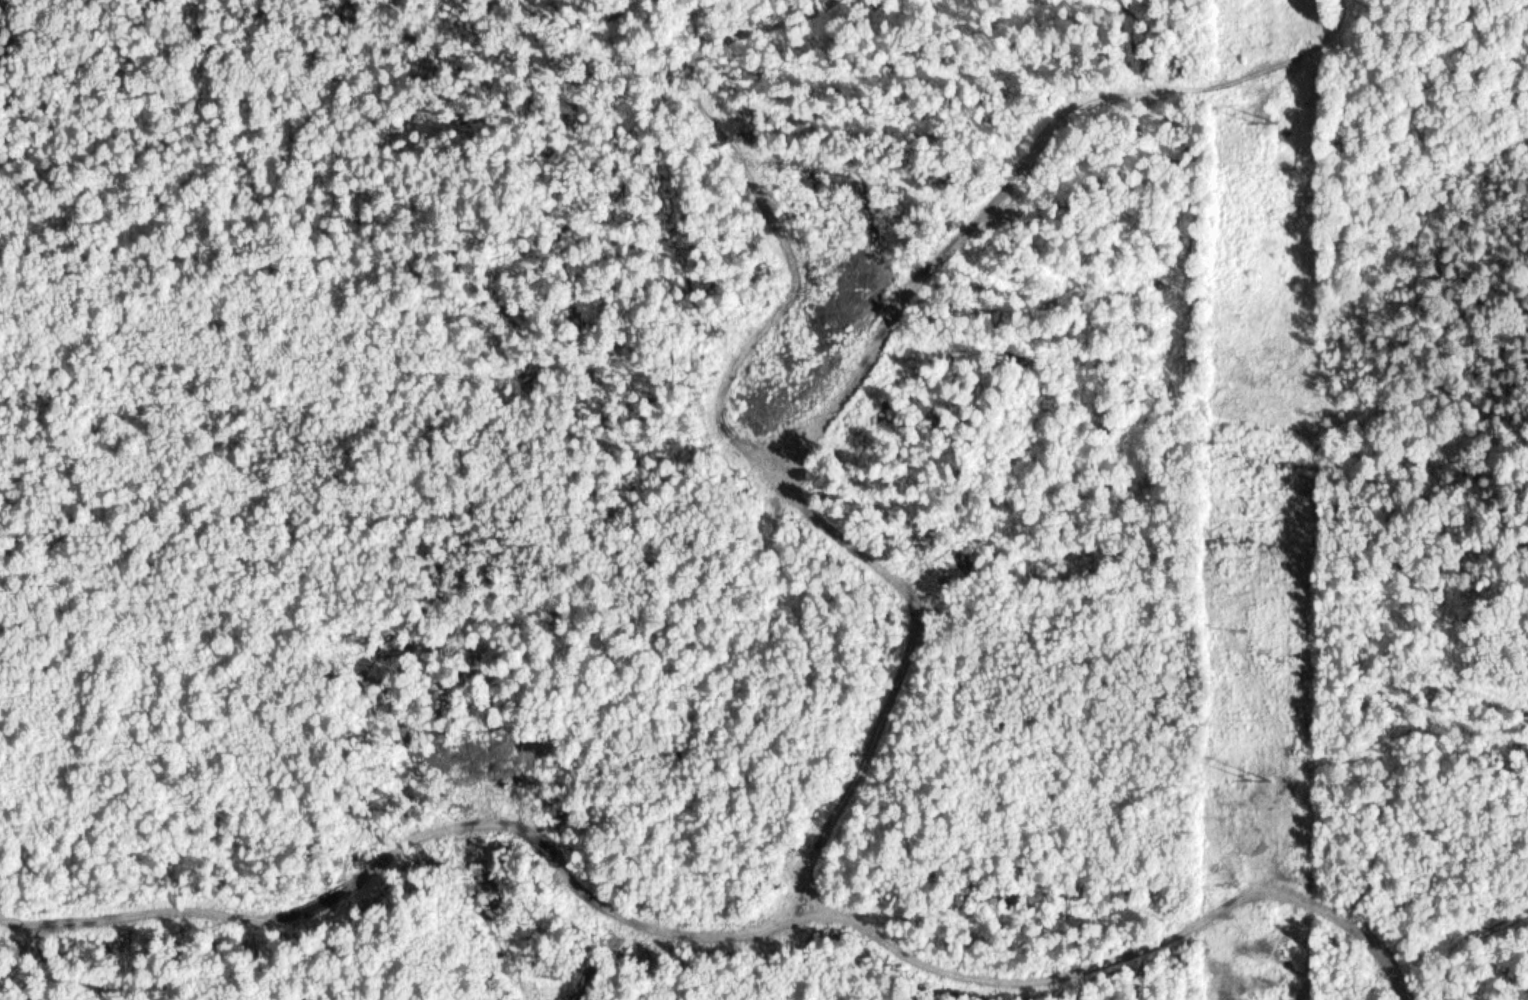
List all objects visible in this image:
power tower: (1280, 126)
power tower: (1264, 777)

